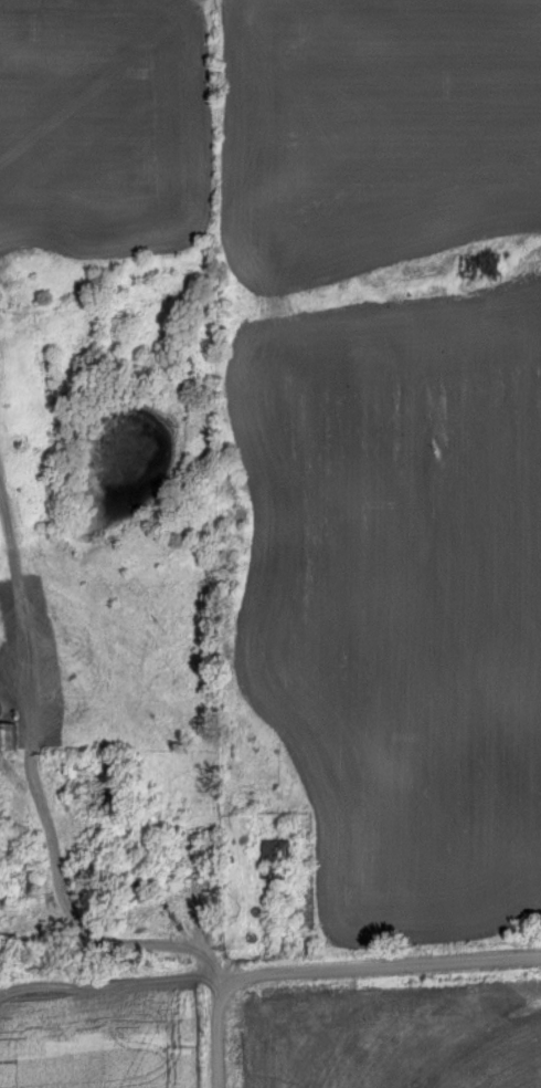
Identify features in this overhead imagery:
building: (273, 859)
building: (129, 878)
road: (89, 914)
road: (329, 969)

